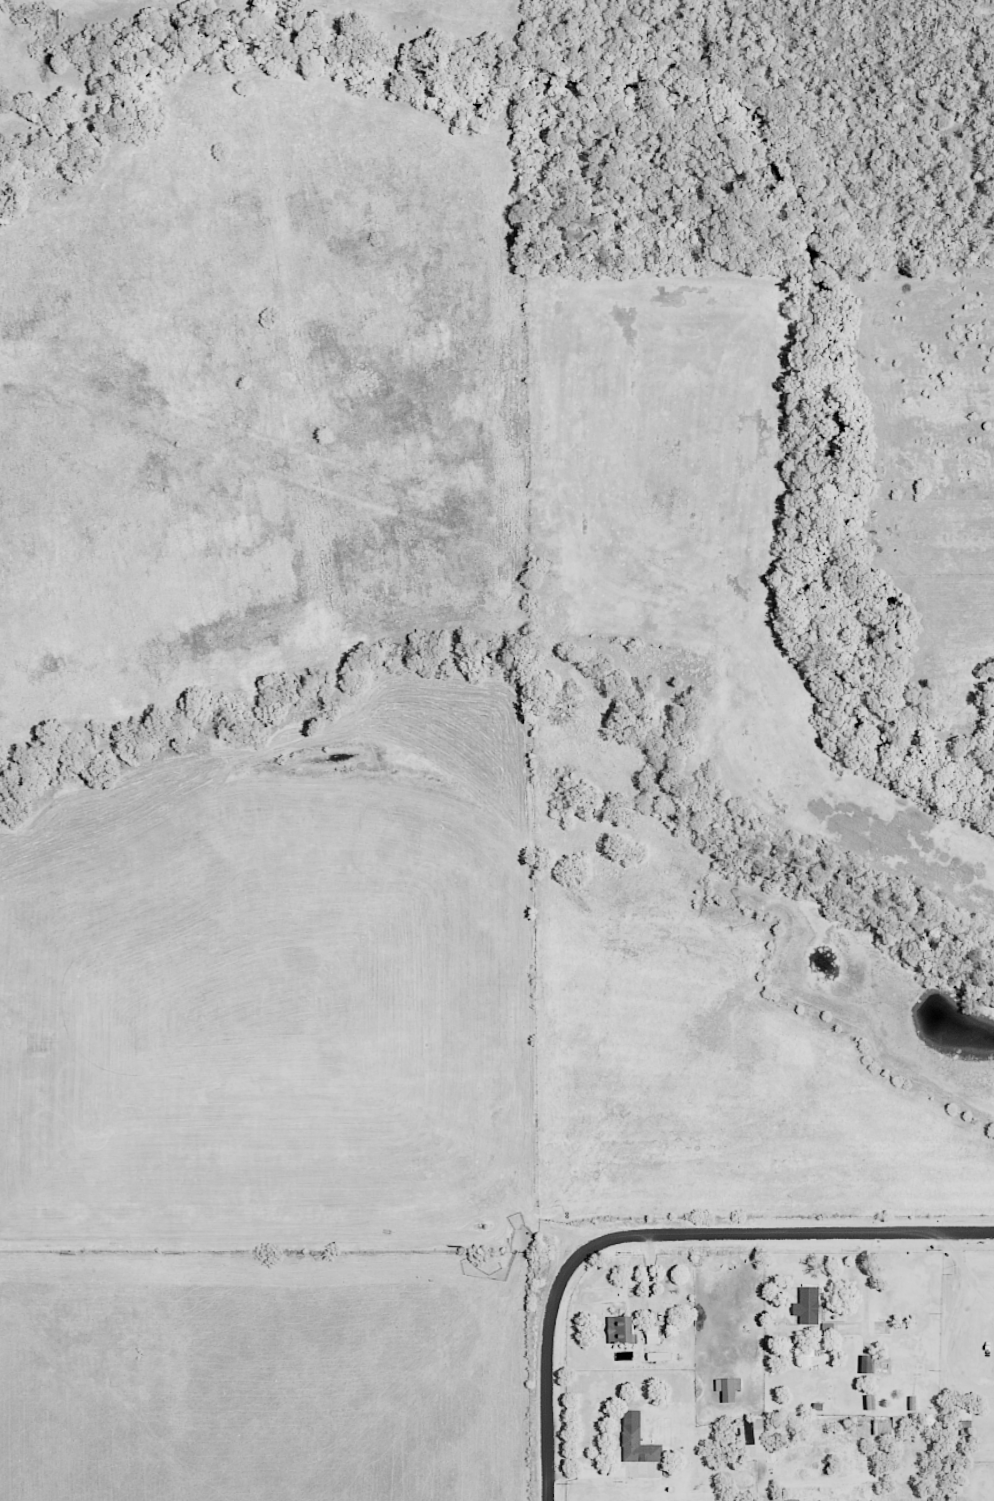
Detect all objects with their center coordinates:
road: (657, 1235)
road: (966, 1272)
road: (866, 1280)
building: (810, 1305)
building: (624, 1328)
building: (655, 1336)
building: (658, 1356)
building: (870, 1363)
building: (730, 1387)
building: (871, 1401)
building: (889, 1425)
building: (752, 1437)
building: (640, 1440)

